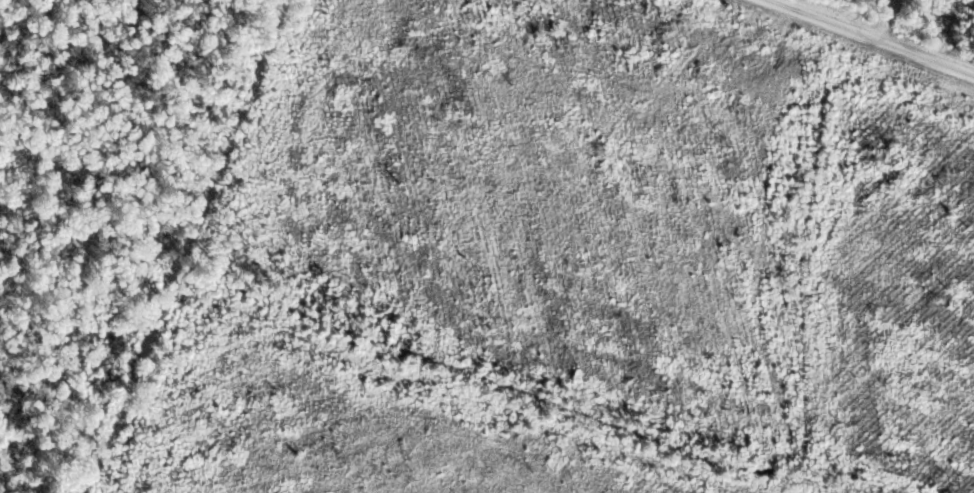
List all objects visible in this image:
road: (955, 9)

